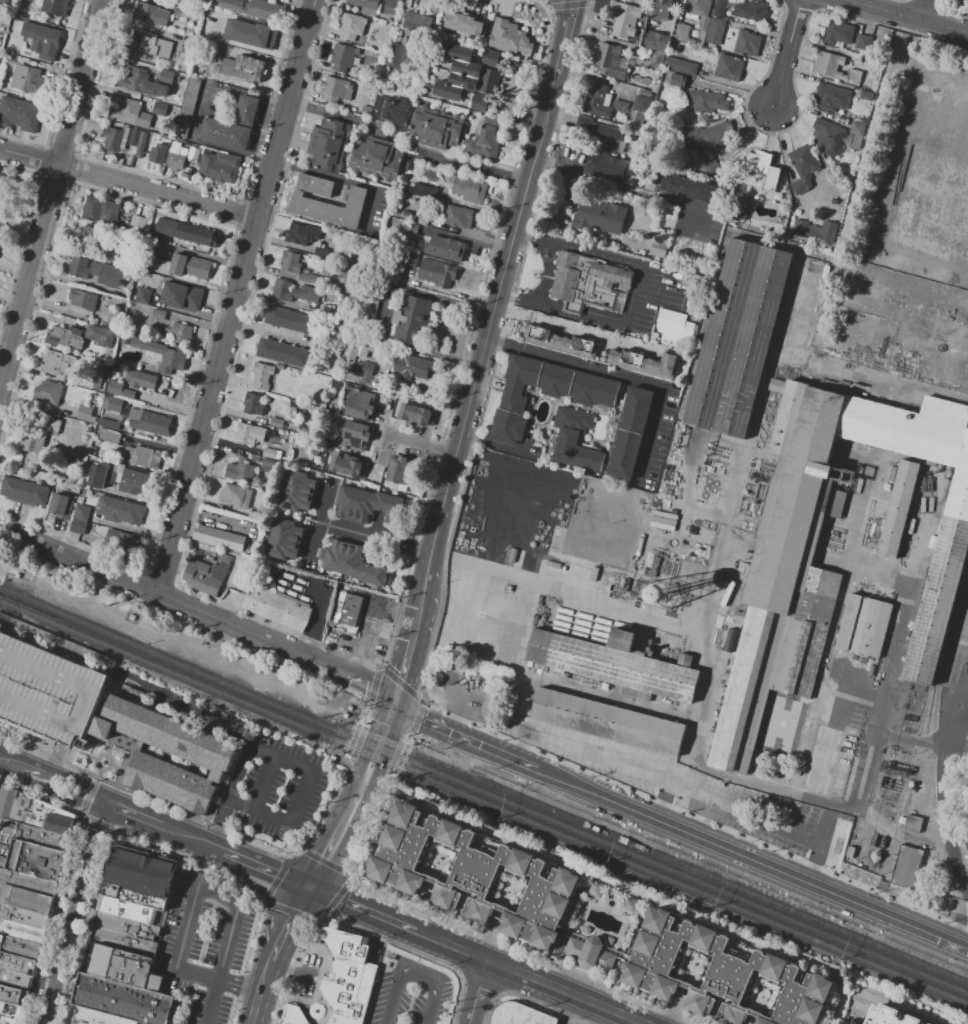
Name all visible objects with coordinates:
building: (963, 1)
building: (7, 2)
park: (900, 2)
building: (200, 5)
building: (365, 6)
building: (55, 7)
building: (391, 7)
building: (697, 7)
building: (251, 8)
building: (719, 8)
building: (660, 9)
building: (750, 11)
road: (923, 11)
building: (180, 12)
building: (151, 14)
building: (463, 17)
road: (904, 17)
building: (624, 19)
building: (417, 22)
building: (352, 26)
building: (680, 32)
building: (715, 32)
building: (838, 32)
building: (250, 33)
road: (565, 36)
building: (45, 40)
building: (515, 41)
building: (659, 42)
building: (861, 42)
building: (747, 43)
building: (155, 46)
building: (187, 46)
road: (785, 55)
building: (396, 56)
building: (342, 57)
building: (655, 59)
building: (609, 60)
building: (472, 64)
building: (680, 66)
building: (240, 67)
building: (834, 67)
building: (728, 68)
building: (165, 76)
building: (27, 79)
building: (677, 80)
building: (140, 83)
building: (462, 87)
building: (335, 88)
building: (865, 96)
building: (830, 98)
building: (597, 101)
building: (706, 101)
building: (641, 104)
building: (186, 106)
building: (479, 106)
building: (159, 108)
building: (8, 109)
building: (246, 110)
building: (390, 111)
building: (130, 112)
building: (27, 115)
road: (340, 118)
building: (436, 128)
building: (330, 132)
building: (224, 134)
building: (600, 135)
building: (857, 135)
building: (127, 136)
building: (827, 136)
building: (135, 138)
building: (111, 139)
building: (710, 140)
building: (141, 145)
building: (483, 145)
building: (192, 153)
building: (155, 155)
building: (324, 155)
building: (176, 156)
building: (374, 159)
building: (227, 160)
road: (467, 166)
building: (613, 167)
building: (802, 168)
building: (215, 170)
building: (764, 170)
road: (129, 183)
building: (6, 186)
road: (628, 188)
building: (690, 189)
building: (424, 190)
building: (468, 190)
road: (50, 193)
building: (308, 203)
building: (92, 208)
building: (1, 212)
building: (109, 212)
building: (599, 216)
building: (423, 217)
building: (135, 218)
building: (458, 218)
building: (1, 224)
building: (666, 224)
building: (411, 230)
building: (816, 230)
building: (186, 233)
building: (89, 235)
building: (302, 235)
building: (447, 249)
building: (658, 249)
building: (331, 254)
flagpole: (534, 256)
building: (129, 257)
building: (290, 261)
building: (410, 261)
building: (181, 264)
building: (157, 265)
building: (78, 267)
building: (200, 269)
building: (105, 274)
road: (547, 274)
building: (436, 275)
building: (309, 277)
building: (589, 284)
building: (294, 292)
building: (177, 293)
building: (143, 296)
building: (193, 297)
road: (238, 297)
building: (82, 299)
building: (373, 301)
road: (629, 301)
road: (493, 313)
building: (158, 314)
building: (695, 314)
building: (342, 315)
building: (277, 316)
building: (93, 320)
building: (410, 320)
building: (113, 322)
building: (303, 324)
road: (576, 328)
building: (676, 329)
road: (7, 333)
building: (180, 334)
building: (100, 336)
building: (68, 337)
building: (737, 338)
building: (125, 341)
building: (558, 341)
building: (268, 349)
building: (365, 349)
building: (162, 354)
building: (107, 355)
building: (293, 356)
building: (350, 356)
building: (56, 362)
building: (645, 363)
building: (412, 366)
building: (115, 368)
building: (365, 369)
building: (261, 376)
road: (623, 376)
building: (90, 379)
building: (141, 379)
building: (119, 389)
building: (47, 392)
building: (545, 392)
building: (114, 404)
building: (253, 404)
building: (360, 404)
building: (86, 414)
building: (416, 415)
building: (110, 420)
building: (148, 422)
building: (277, 423)
building: (52, 425)
building: (249, 433)
building: (629, 433)
building: (110, 436)
building: (355, 437)
building: (28, 439)
building: (574, 440)
road: (424, 445)
building: (92, 450)
building: (271, 454)
building: (142, 456)
building: (267, 465)
building: (348, 467)
building: (400, 469)
building: (241, 470)
building: (97, 476)
building: (112, 476)
building: (134, 482)
building: (300, 482)
building: (13, 488)
building: (36, 494)
building: (231, 495)
building: (79, 499)
building: (295, 500)
road: (324, 502)
building: (350, 502)
building: (367, 504)
building: (394, 505)
building: (61, 506)
building: (836, 506)
building: (898, 508)
building: (119, 510)
building: (81, 512)
building: (79, 525)
building: (910, 526)
building: (292, 531)
road: (367, 535)
building: (223, 538)
road: (319, 540)
building: (123, 541)
building: (287, 549)
building: (686, 549)
building: (701, 554)
building: (340, 555)
building: (511, 555)
road: (2, 558)
building: (358, 560)
road: (80, 561)
building: (552, 564)
road: (2, 565)
building: (512, 571)
building: (378, 574)
building: (594, 574)
building: (210, 576)
building: (617, 580)
building: (791, 587)
water tower: (662, 595)
road: (420, 597)
building: (279, 603)
building: (352, 611)
building: (864, 626)
road: (279, 645)
building: (617, 665)
road: (403, 672)
building: (453, 675)
road: (965, 686)
building: (46, 688)
parking lot: (46, 688)
building: (490, 702)
road: (865, 702)
traffic signals: (394, 703)
road: (879, 718)
building: (608, 722)
road: (960, 722)
road: (212, 728)
road: (453, 730)
railway: (935, 732)
road: (838, 734)
building: (123, 741)
road: (367, 745)
road: (956, 757)
building: (332, 758)
road: (55, 759)
building: (209, 759)
road: (12, 762)
railway: (954, 769)
road: (36, 772)
road: (939, 781)
road: (266, 782)
parking lot: (283, 787)
road: (76, 789)
road: (680, 789)
road: (665, 792)
railway: (483, 793)
road: (228, 795)
road: (305, 798)
road: (364, 801)
railway: (484, 803)
building: (21, 807)
road: (138, 816)
building: (58, 820)
building: (912, 822)
building: (967, 833)
road: (321, 835)
building: (41, 837)
road: (194, 840)
road: (741, 850)
railway: (660, 856)
building: (35, 861)
road: (263, 867)
building: (909, 867)
building: (143, 871)
building: (27, 883)
traffic signals: (306, 884)
road: (193, 887)
building: (595, 890)
building: (26, 899)
building: (134, 904)
building: (630, 904)
road: (366, 908)
road: (73, 912)
building: (542, 913)
road: (964, 916)
road: (284, 920)
building: (22, 922)
building: (126, 934)
parking lot: (207, 945)
building: (20, 947)
street lamp: (297, 950)
building: (17, 964)
building: (119, 965)
road: (288, 968)
road: (413, 969)
building: (346, 976)
road: (534, 978)
building: (16, 980)
road: (238, 984)
road: (260, 991)
road: (477, 991)
parking lot: (406, 992)
building: (13, 996)
road: (526, 999)
building: (122, 1000)
road: (209, 1001)
road: (886, 1004)
road: (569, 1009)
fountain: (316, 1011)
building: (10, 1013)
building: (291, 1015)
building: (519, 1015)
building: (885, 1016)
building: (94, 1017)

